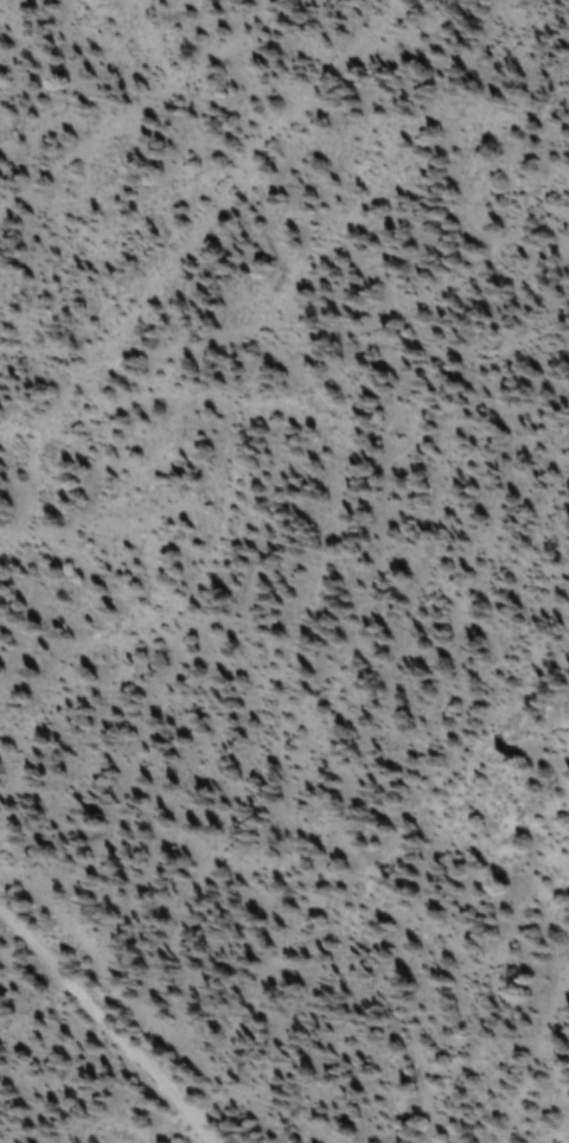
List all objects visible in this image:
road: (133, 1002)

